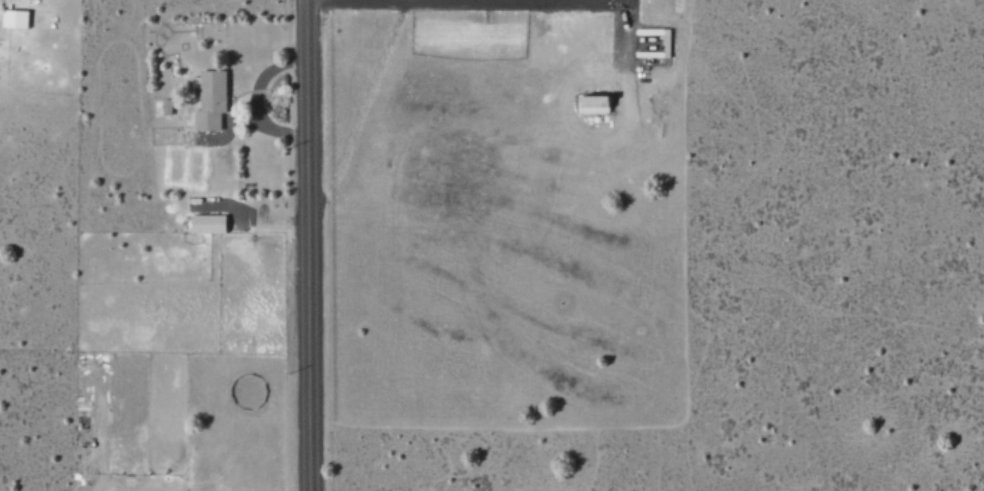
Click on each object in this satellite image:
building: (17, 18)
building: (213, 99)
building: (590, 103)
building: (169, 105)
building: (211, 223)
road: (303, 245)

